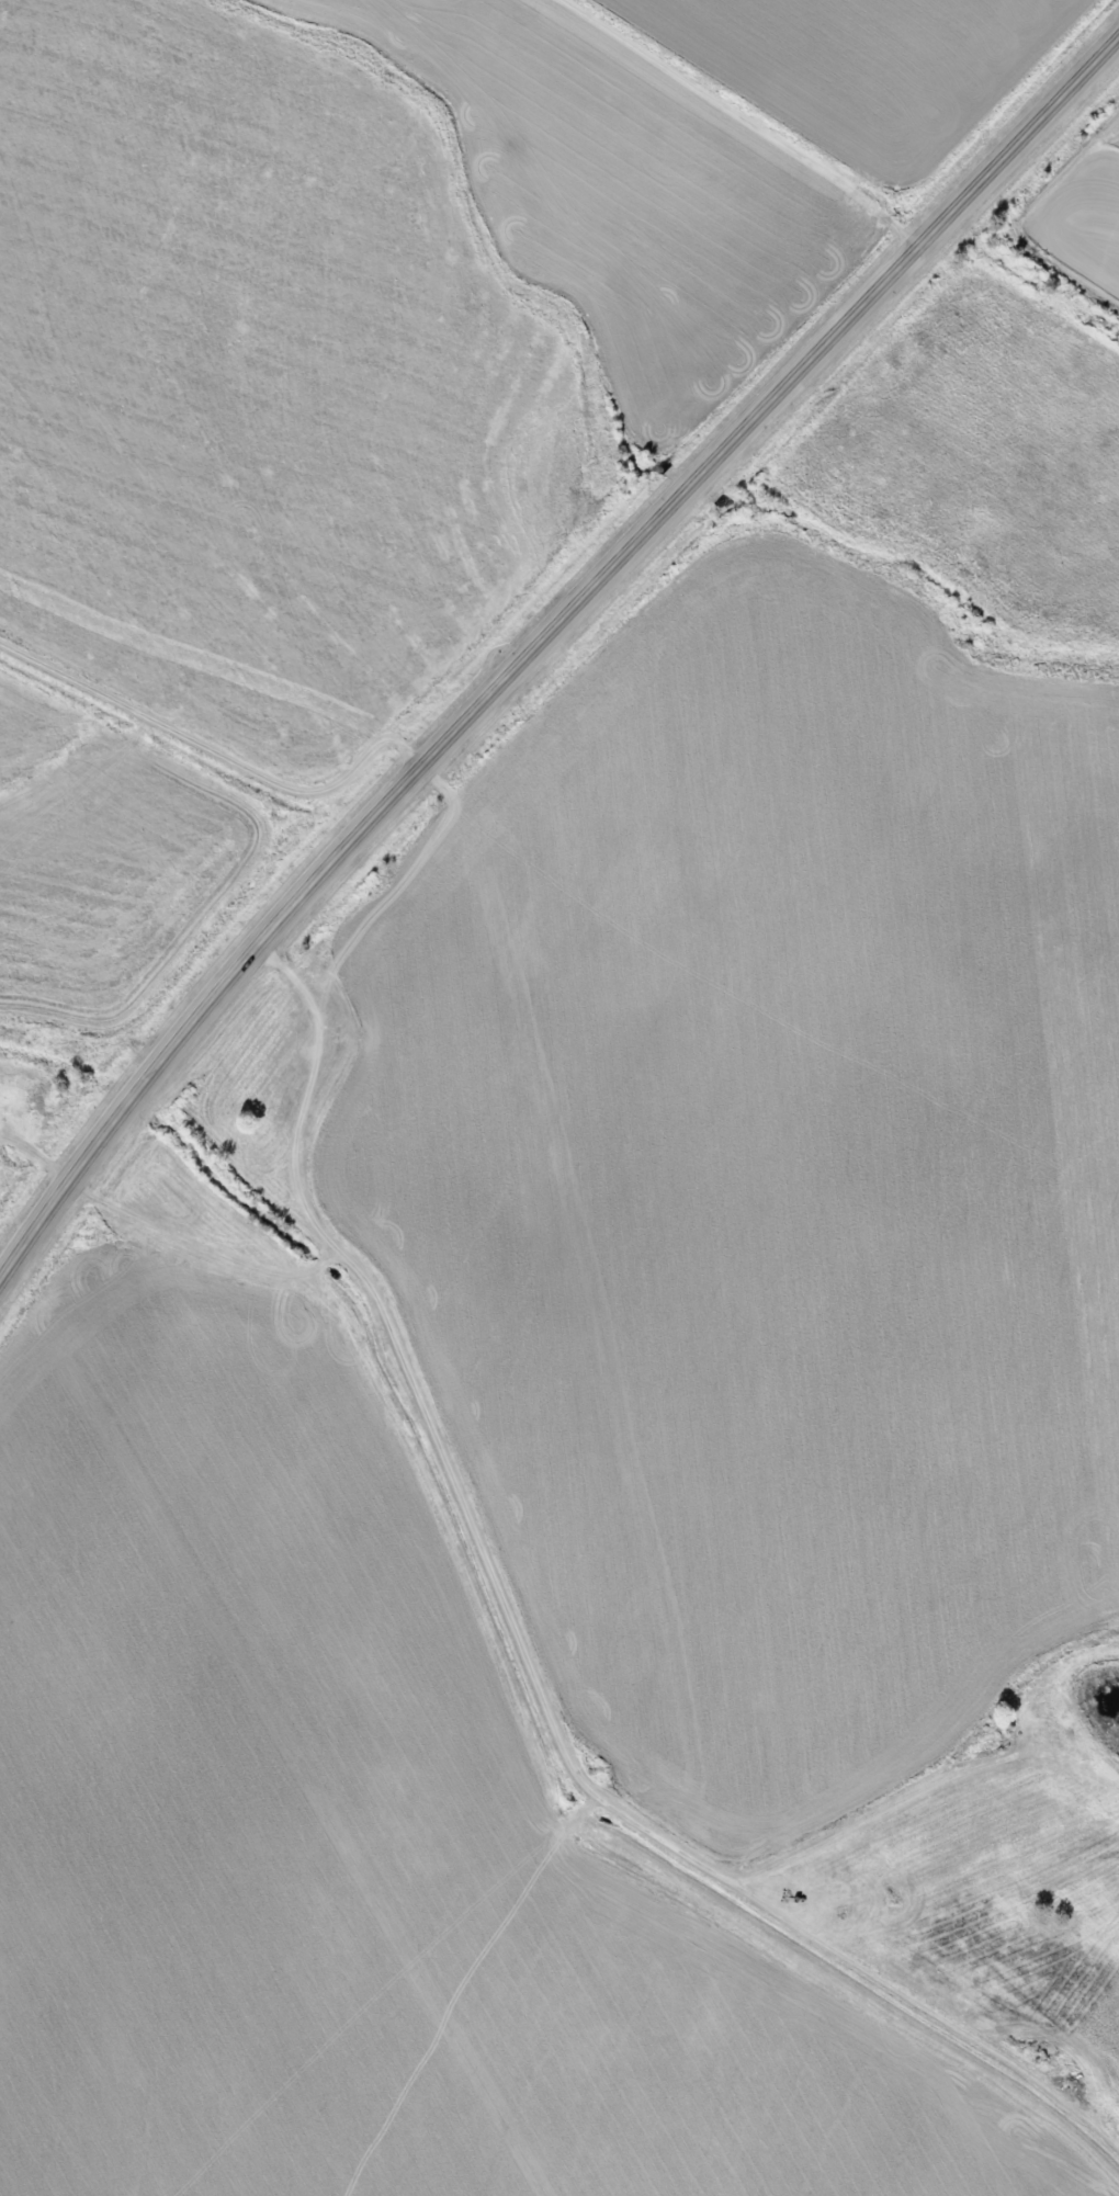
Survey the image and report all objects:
road: (540, 648)

